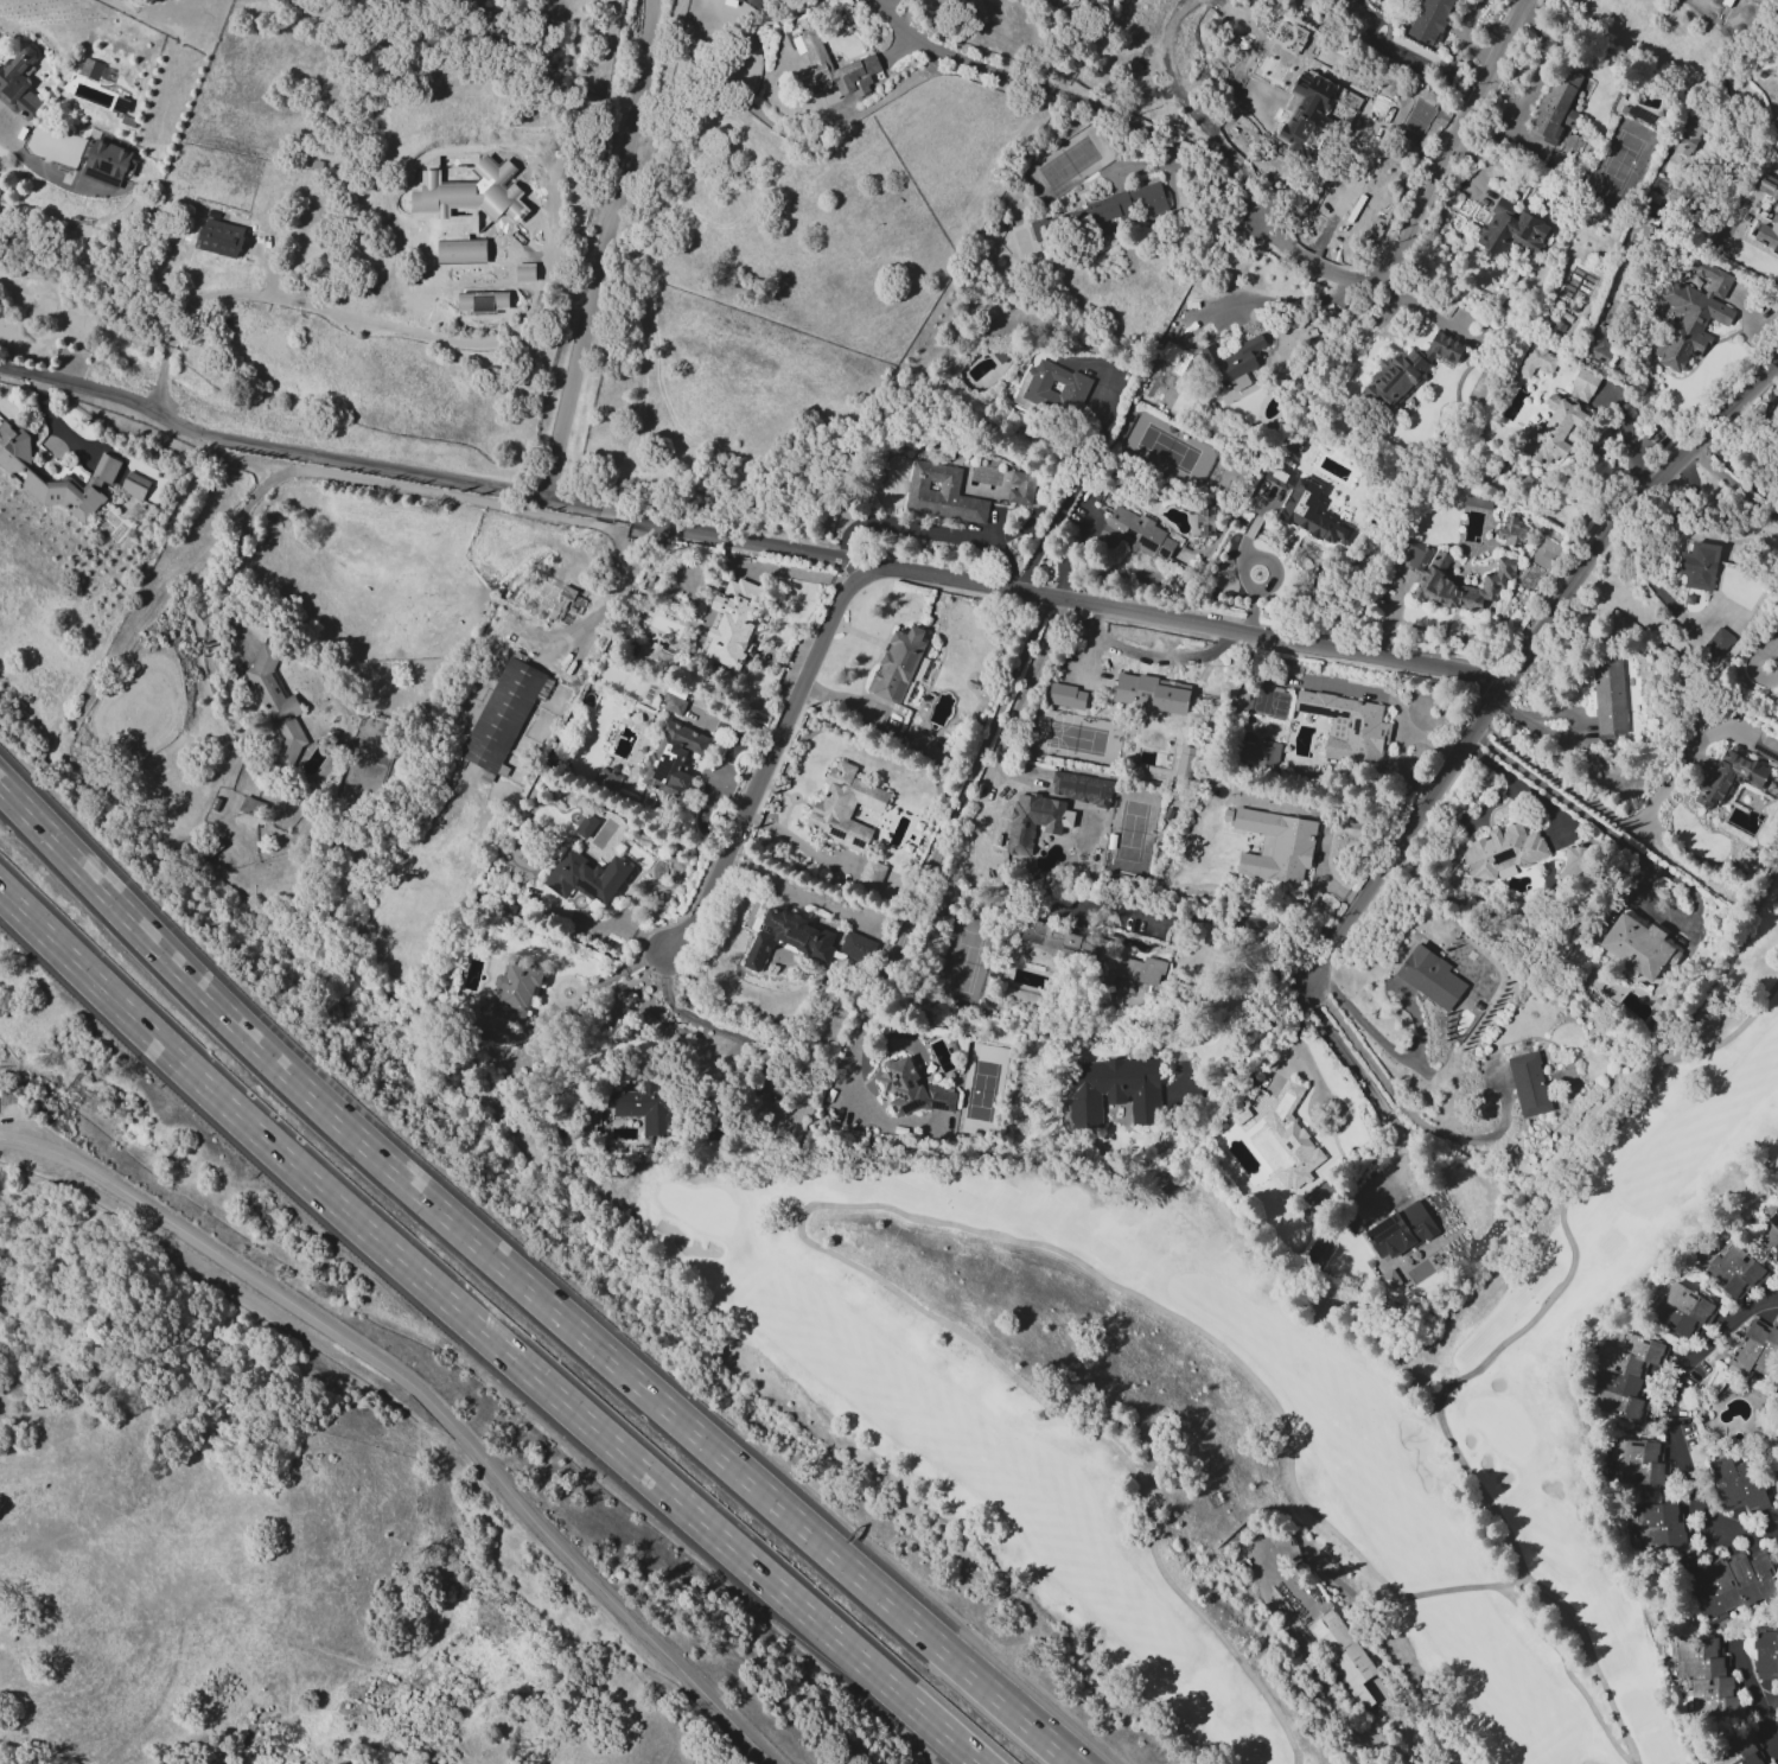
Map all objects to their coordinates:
building: (739, 0)
building: (1430, 20)
building: (1288, 37)
building: (831, 65)
building: (91, 70)
building: (1280, 83)
building: (19, 87)
road: (1063, 100)
building: (121, 106)
road: (1376, 109)
building: (1314, 112)
building: (1557, 112)
building: (129, 121)
road: (1452, 138)
building: (1687, 138)
building: (554, 148)
road: (21, 153)
building: (106, 163)
building: (1766, 186)
building: (466, 210)
building: (1100, 210)
building: (1771, 218)
building: (1745, 223)
building: (1512, 231)
building: (221, 237)
road: (600, 250)
road: (1308, 260)
road: (268, 267)
road: (1287, 300)
building: (483, 303)
road: (1422, 305)
building: (1693, 316)
road: (422, 335)
building: (1598, 344)
building: (1231, 361)
building: (1537, 361)
building: (1410, 368)
road: (160, 381)
building: (1033, 387)
building: (1561, 421)
road: (1083, 470)
road: (390, 471)
road: (1738, 471)
building: (104, 472)
road: (381, 480)
road: (1732, 484)
building: (1022, 488)
building: (133, 489)
building: (942, 493)
road: (1263, 503)
building: (1306, 508)
building: (1204, 521)
road: (1250, 527)
road: (932, 530)
building: (1511, 530)
building: (1137, 534)
building: (1413, 554)
building: (1700, 566)
road: (1248, 586)
building: (1461, 586)
building: (540, 599)
building: (562, 603)
road: (1146, 618)
building: (733, 624)
building: (523, 625)
building: (505, 626)
building: (1716, 644)
road: (1772, 654)
road: (1522, 655)
building: (654, 656)
building: (567, 662)
building: (898, 666)
building: (553, 668)
building: (1151, 696)
building: (1610, 696)
building: (674, 703)
building: (278, 705)
building: (503, 718)
building: (1349, 727)
building: (1258, 756)
building: (673, 758)
road: (764, 762)
building: (1727, 778)
building: (605, 781)
road: (1522, 787)
building: (1082, 788)
building: (215, 803)
building: (846, 807)
building: (250, 813)
building: (1226, 815)
building: (1037, 819)
road: (1617, 819)
building: (585, 826)
building: (1277, 846)
building: (1502, 852)
road: (930, 860)
building: (1574, 865)
building: (871, 875)
building: (587, 877)
road: (782, 887)
building: (1072, 894)
building: (510, 908)
road: (1221, 917)
building: (789, 938)
building: (1072, 941)
building: (1639, 947)
building: (856, 948)
building: (1128, 968)
road: (619, 969)
building: (1595, 975)
building: (1432, 977)
building: (518, 985)
road: (1232, 993)
road: (565, 1004)
road: (709, 1025)
road: (1379, 1042)
road: (1302, 1049)
road: (1359, 1070)
building: (1529, 1084)
building: (912, 1091)
building: (1114, 1091)
building: (1291, 1094)
building: (644, 1108)
road: (1404, 1112)
building: (1232, 1117)
building: (1291, 1152)
building: (1777, 1204)
road: (808, 1211)
building: (1401, 1230)
building: (1770, 1233)
building: (1733, 1271)
road: (527, 1285)
building: (1682, 1311)
road: (474, 1324)
building: (1754, 1351)
road: (1492, 1358)
building: (1626, 1374)
road: (427, 1399)
park: (1230, 1422)
road: (1669, 1425)
building: (1638, 1463)
building: (1739, 1484)
building: (1657, 1526)
road: (1696, 1550)
road: (1282, 1554)
building: (1733, 1588)
building: (1344, 1655)
building: (1766, 1656)
road: (1570, 1674)
building: (1708, 1677)
road: (1764, 1728)
building: (1739, 1751)
road: (967, 1757)
road: (968, 1757)

